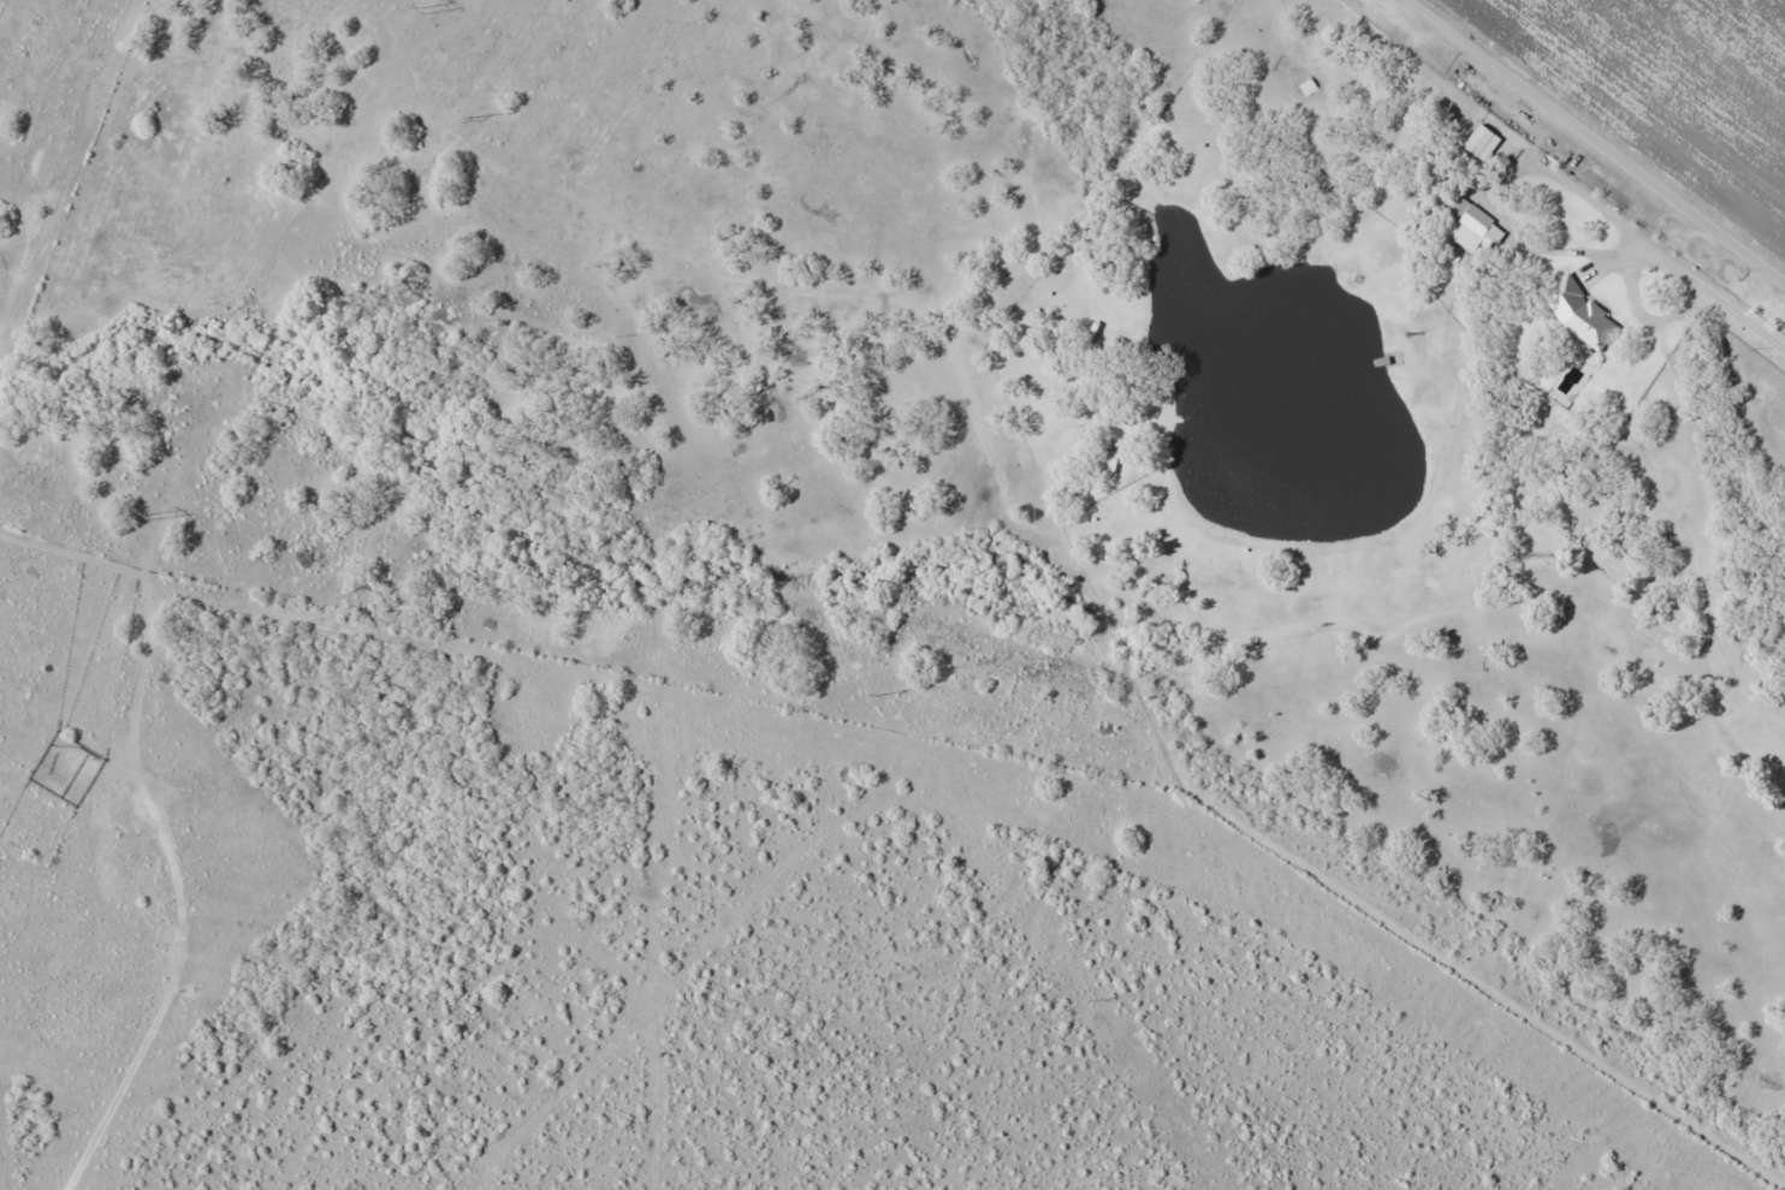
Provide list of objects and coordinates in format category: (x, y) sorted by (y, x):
power tower: (421, 11)
road: (1589, 149)
building: (1465, 225)
building: (1578, 313)
power tower: (149, 518)

